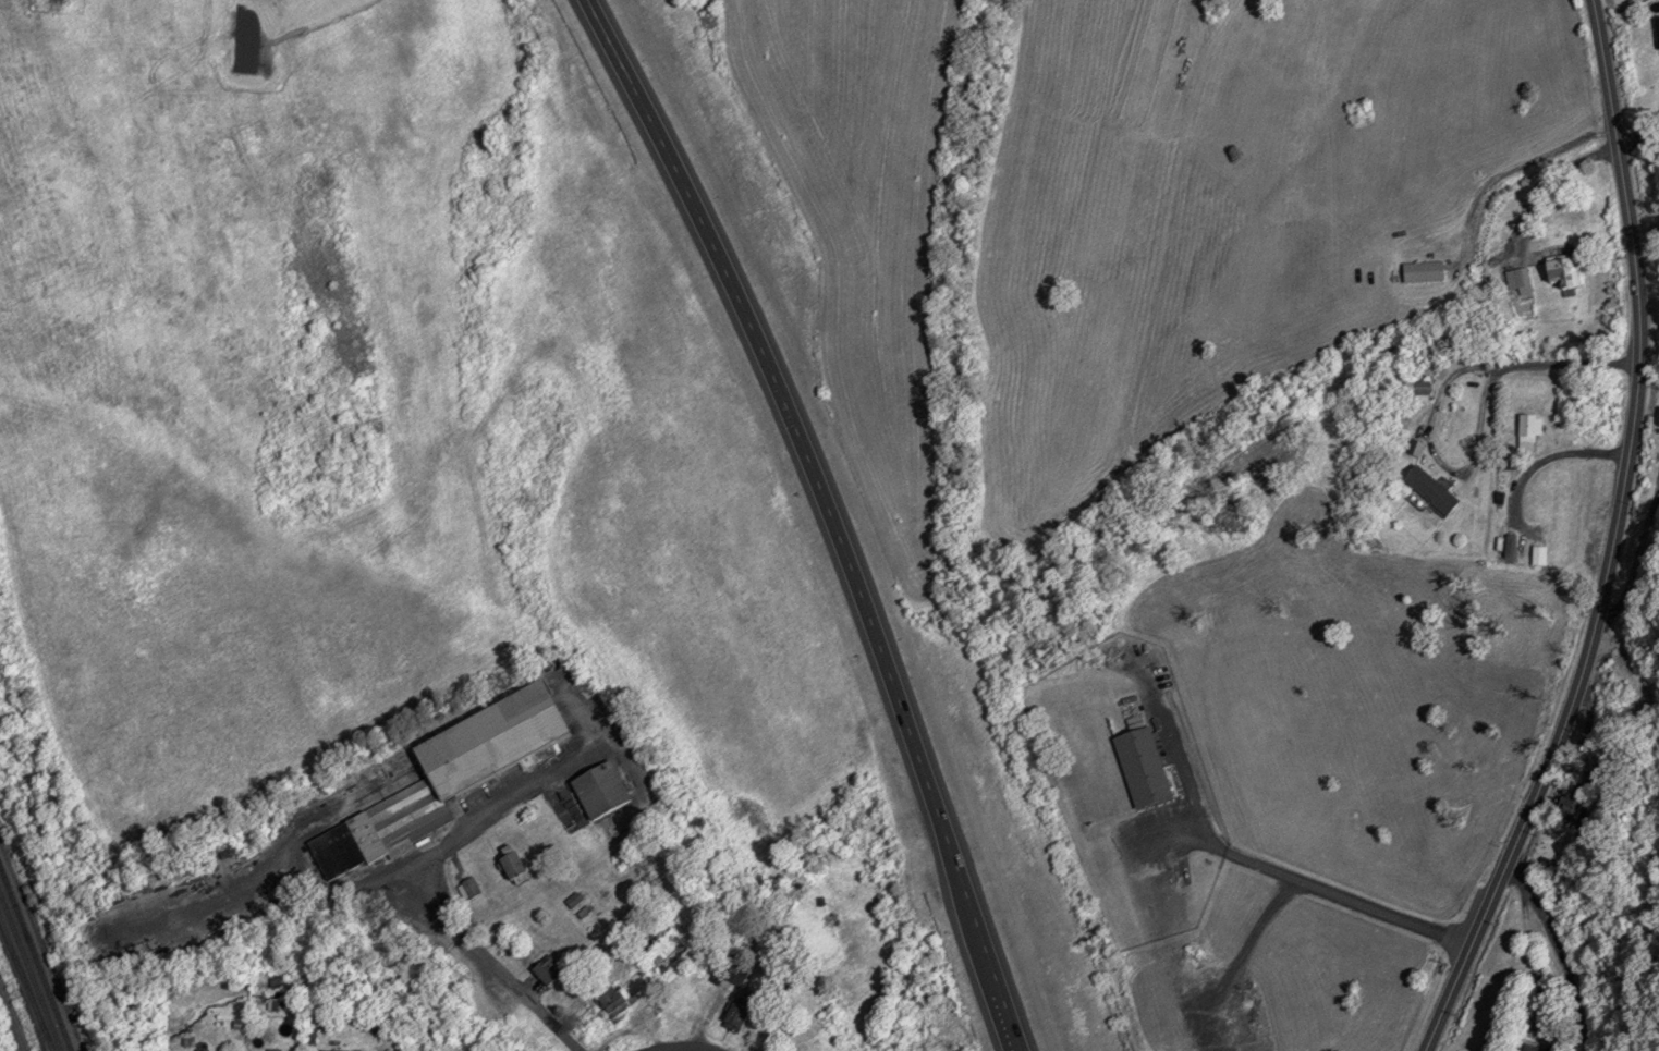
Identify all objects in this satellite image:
building: (1656, 32)
building: (1420, 271)
building: (1560, 271)
building: (1516, 279)
building: (1417, 390)
road: (1479, 427)
building: (1526, 430)
building: (1428, 490)
road: (831, 514)
road: (1614, 540)
building: (496, 743)
building: (1139, 767)
building: (605, 791)
building: (385, 831)
building: (509, 867)
road: (1315, 887)
building: (467, 888)
road: (1560, 950)
railway: (36, 956)
railway: (31, 970)
building: (729, 970)
road: (501, 971)
building: (542, 973)
building: (609, 1002)
building: (732, 1017)
road: (12, 1019)
building: (1246, 1047)
building: (1536, 1048)
road: (682, 1049)
building: (271, 1050)

